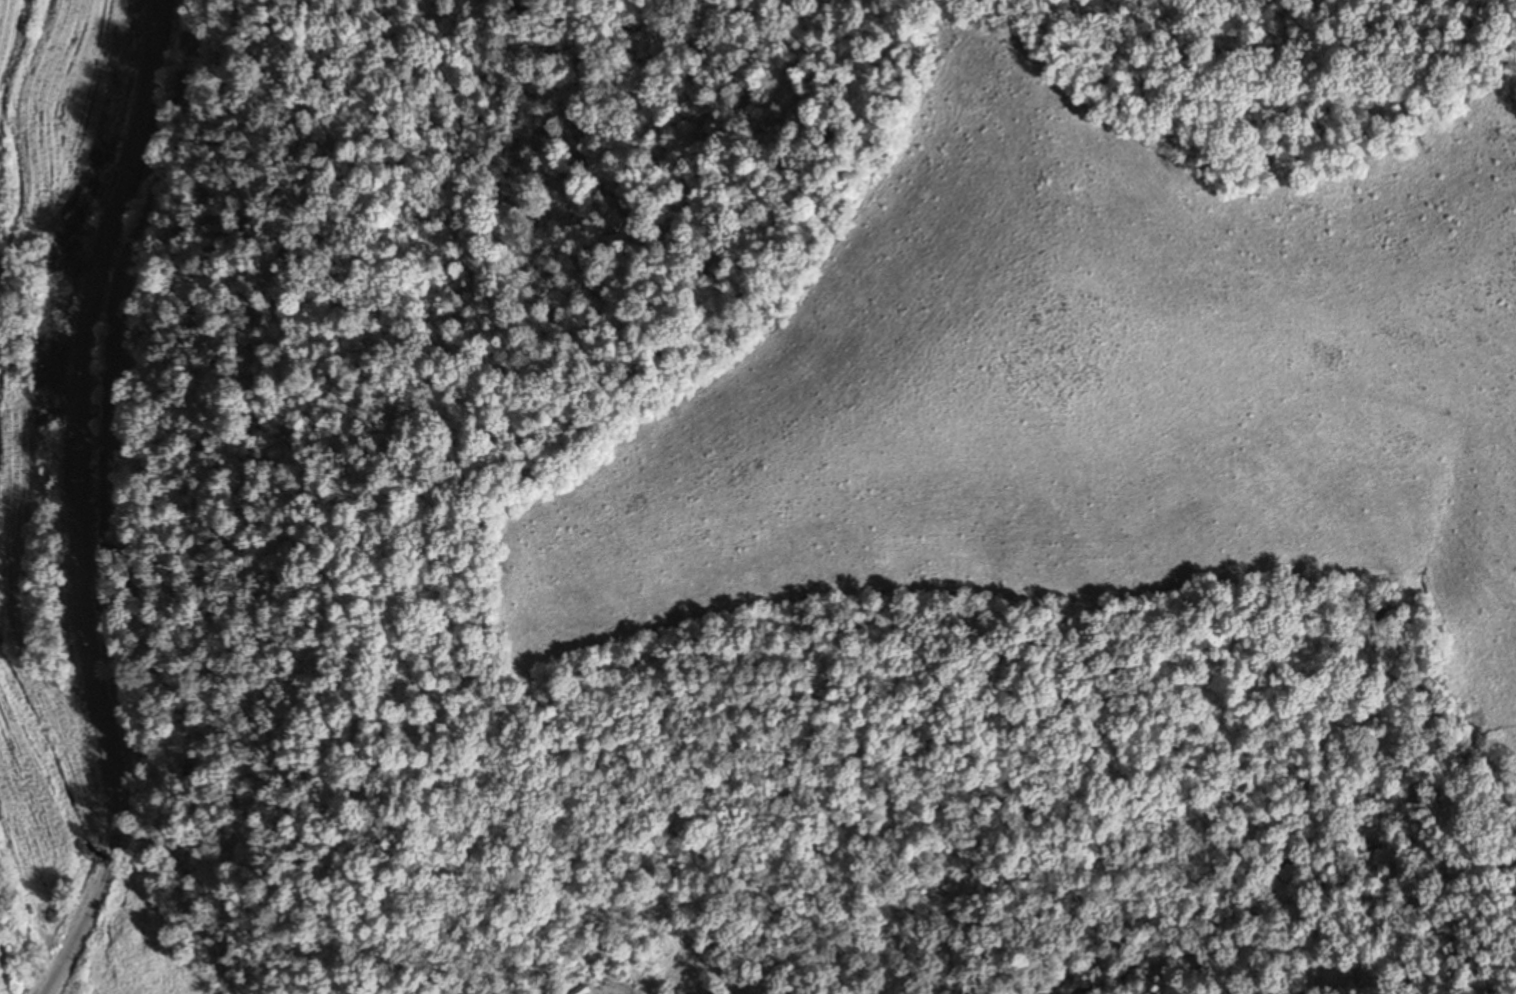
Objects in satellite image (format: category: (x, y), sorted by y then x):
road: (121, 498)

